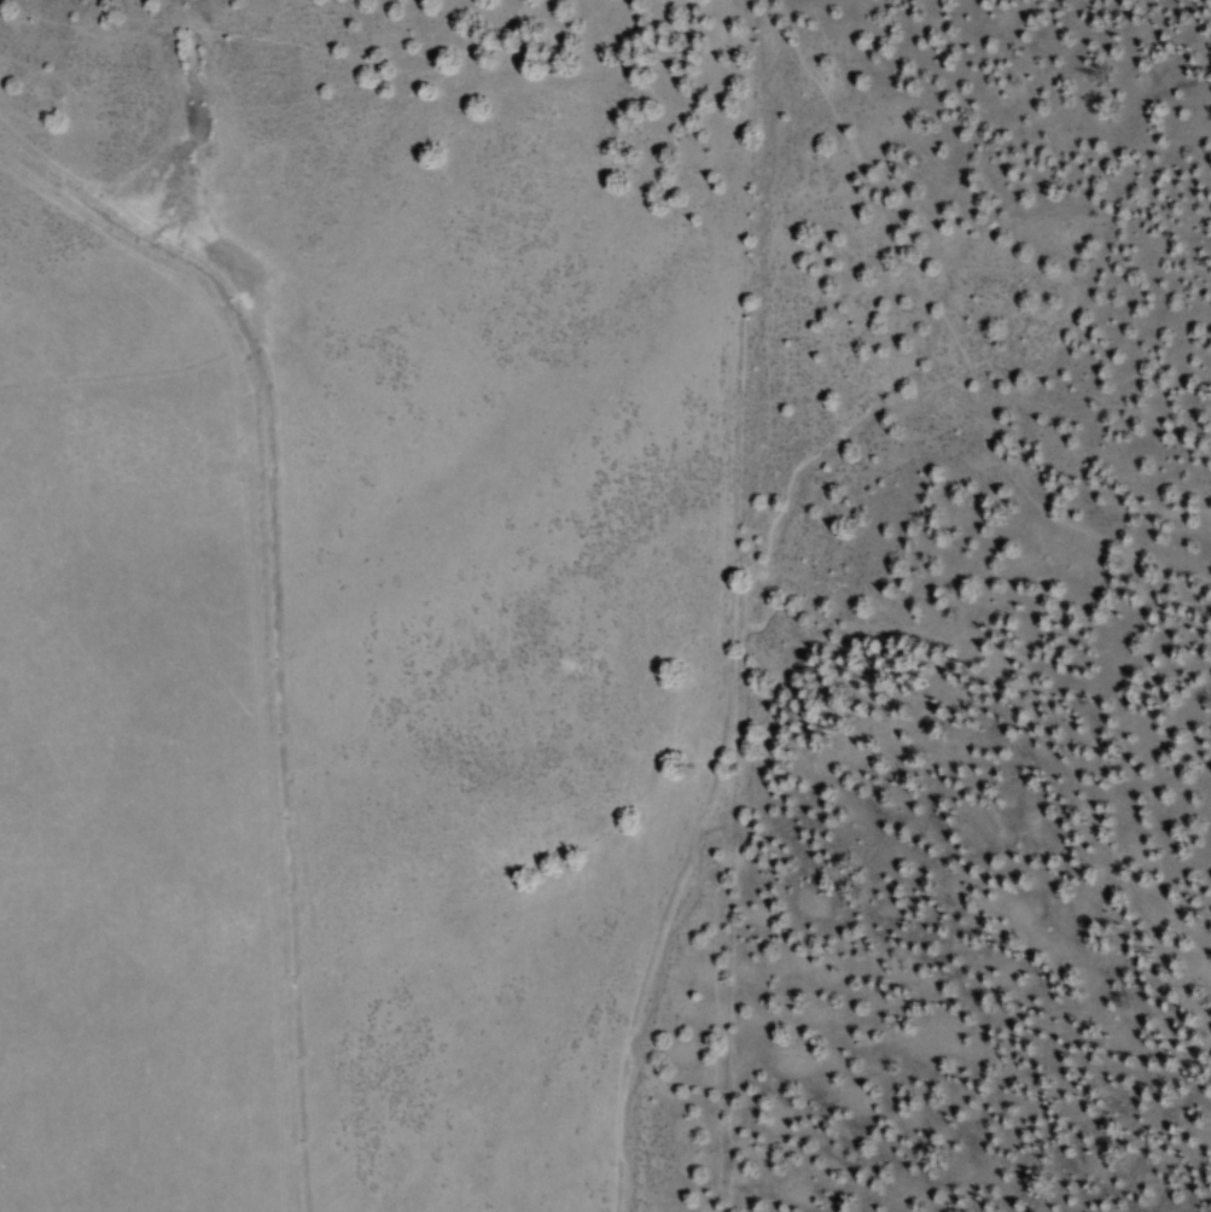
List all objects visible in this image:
road: (6, 122)

